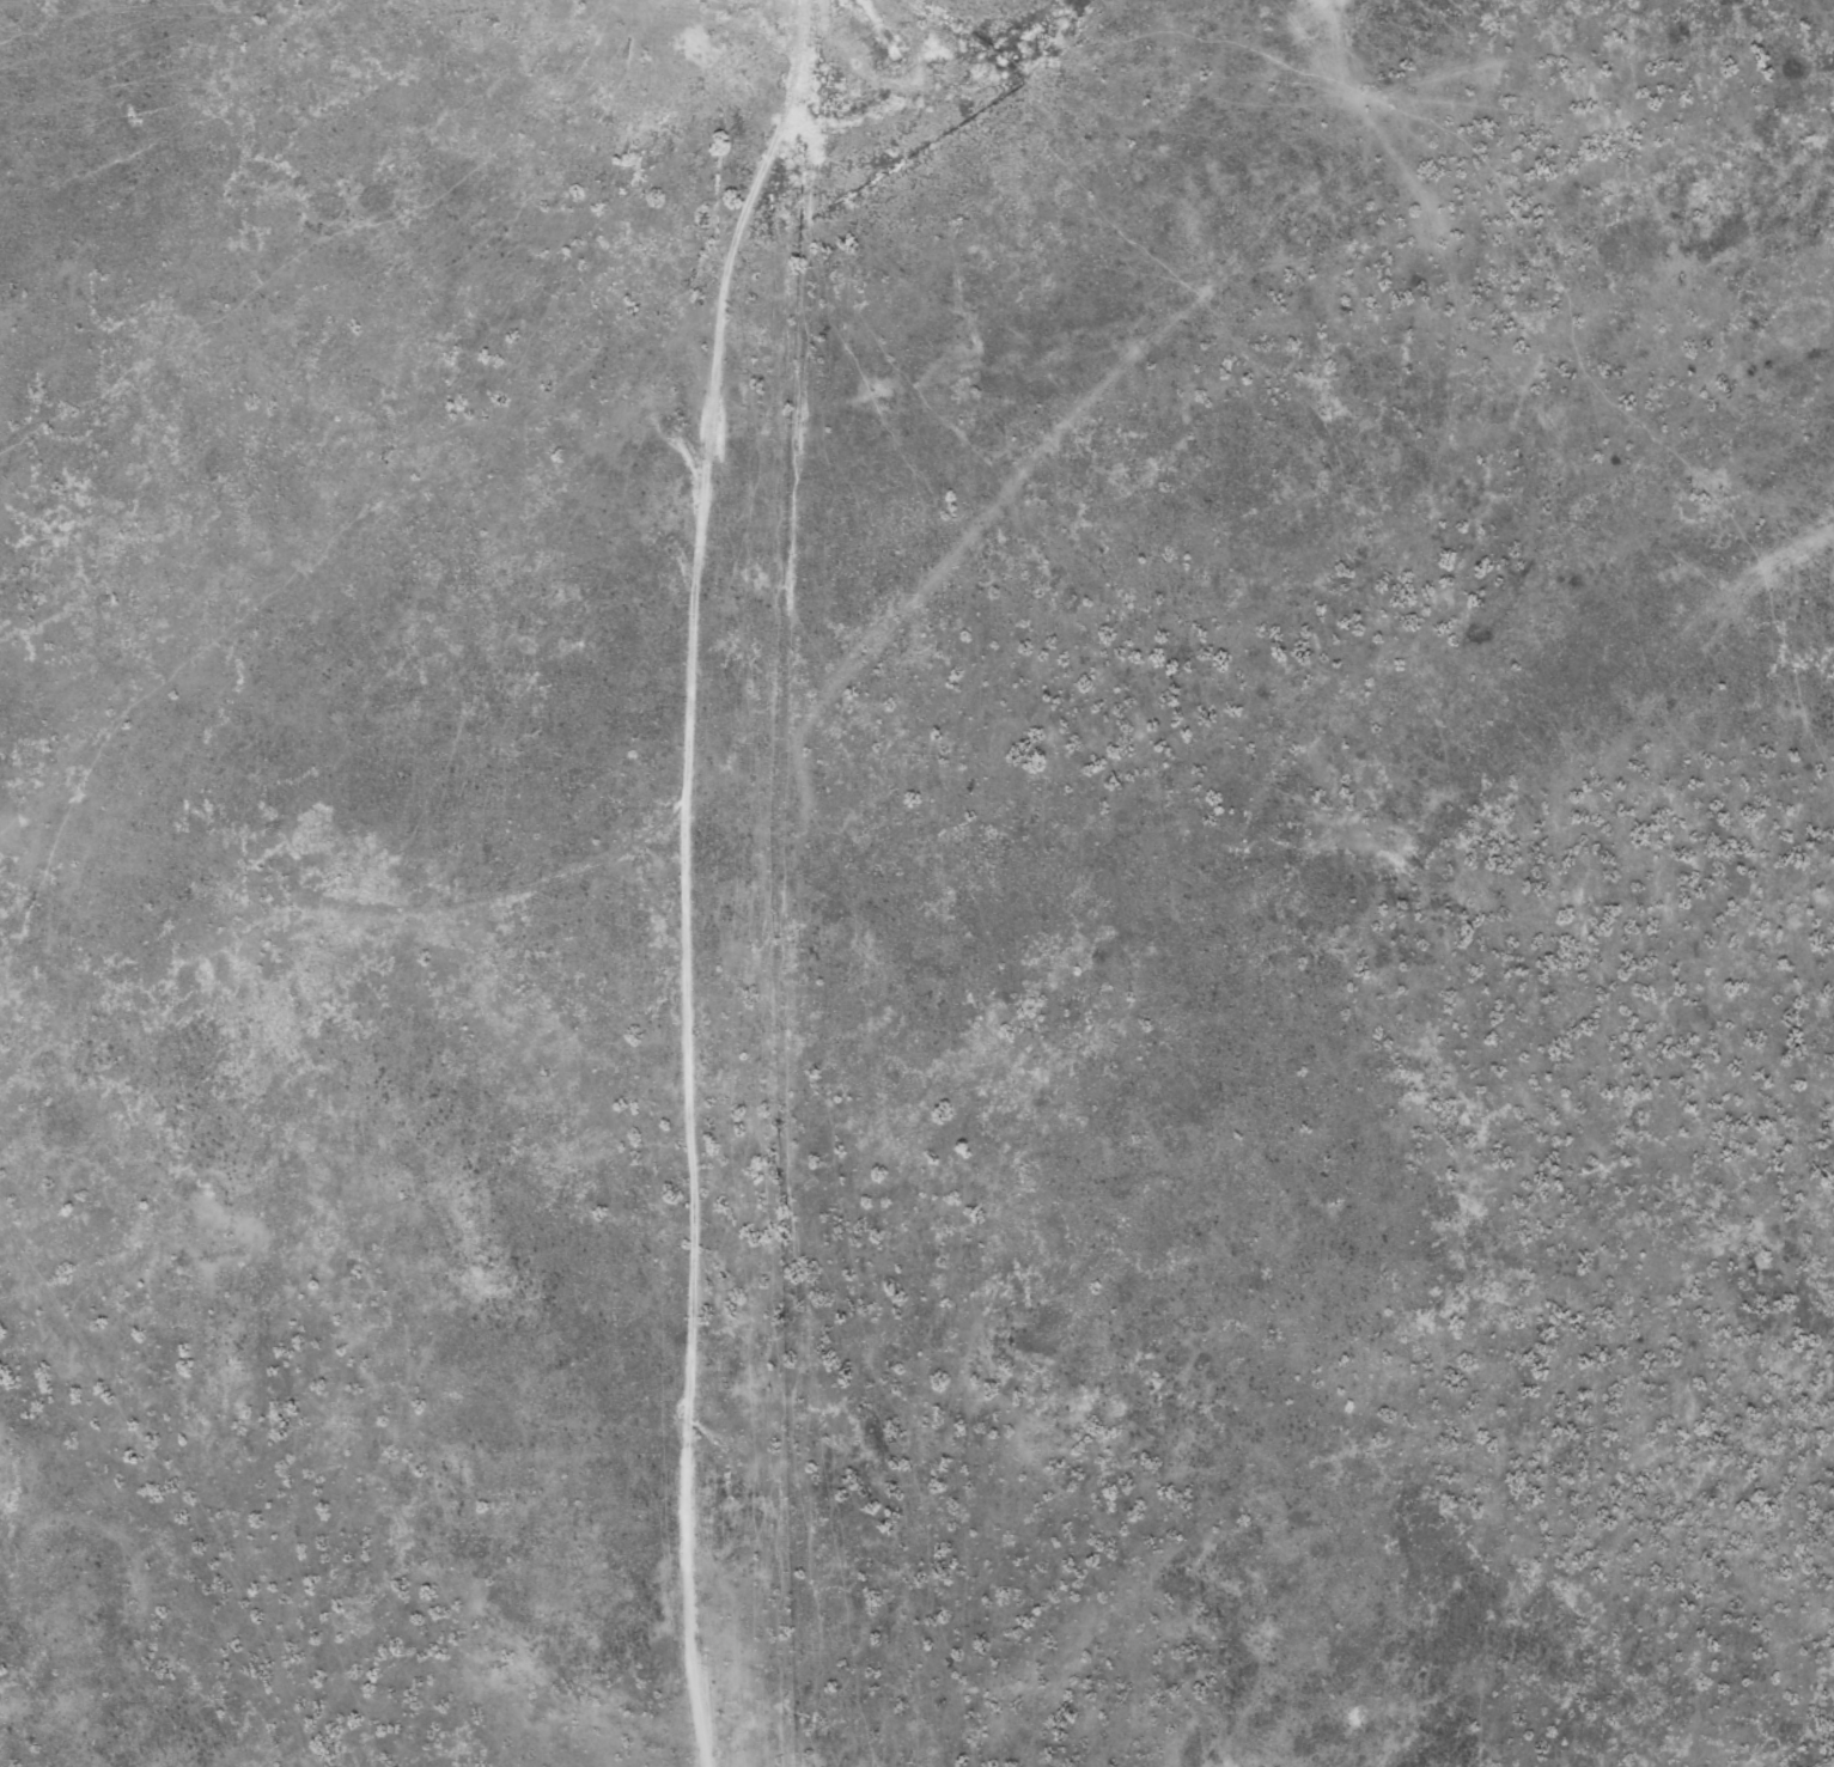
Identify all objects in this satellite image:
road: (721, 883)

